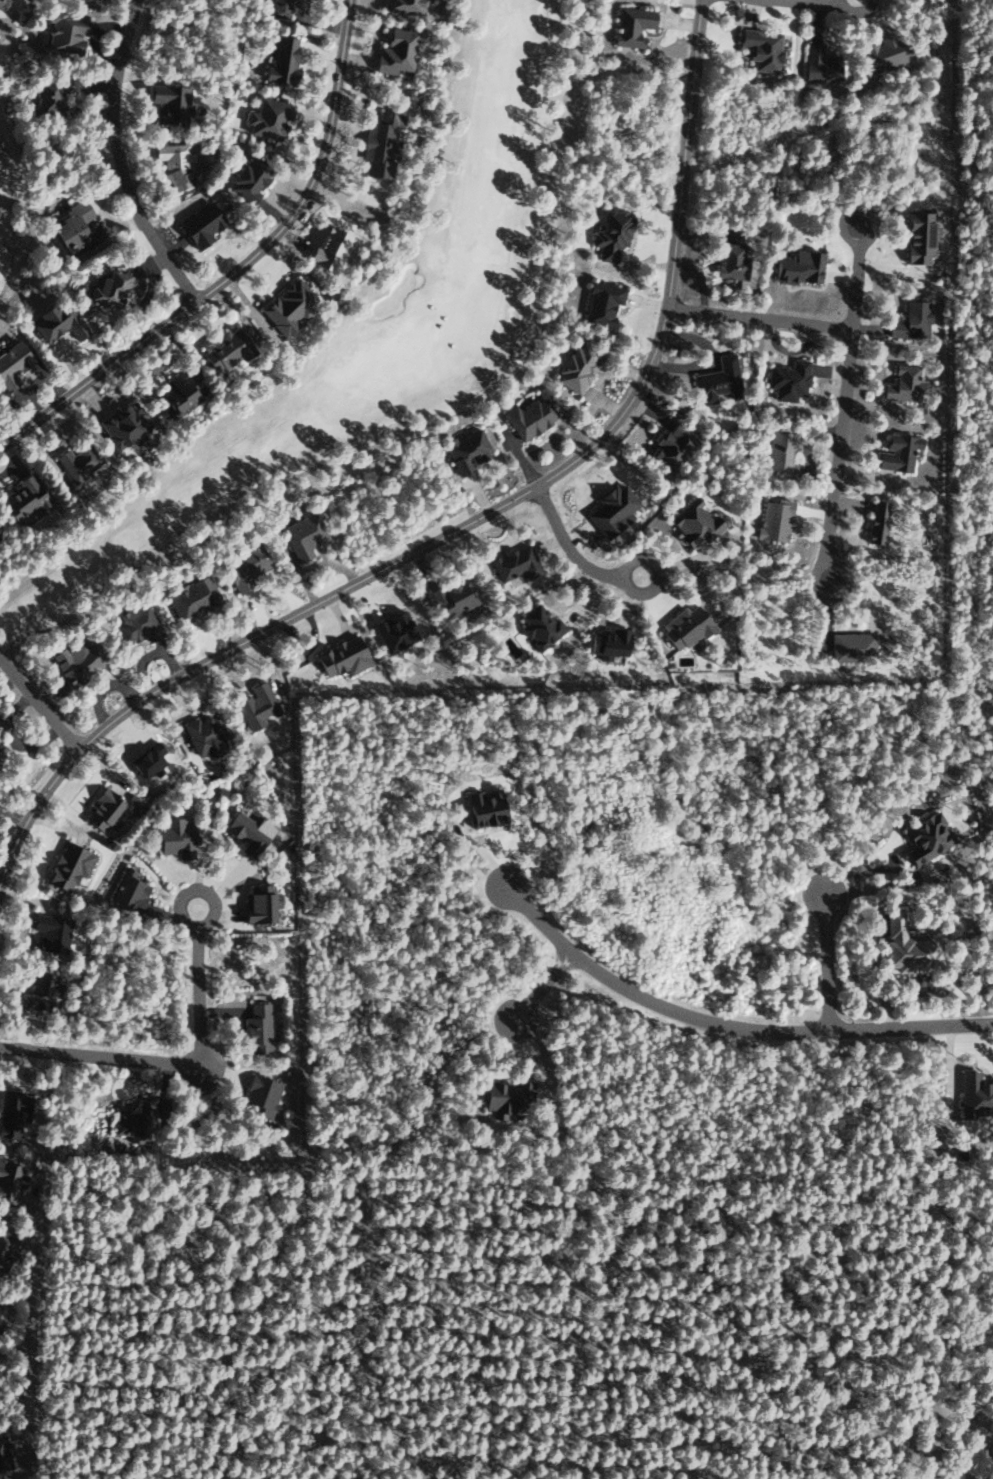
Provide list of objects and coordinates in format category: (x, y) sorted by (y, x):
road: (795, 3)
building: (403, 6)
building: (280, 8)
building: (631, 25)
building: (63, 32)
building: (760, 47)
building: (395, 51)
building: (882, 52)
building: (281, 61)
building: (819, 64)
building: (48, 95)
building: (168, 102)
building: (268, 118)
building: (380, 144)
road: (117, 160)
building: (174, 164)
building: (247, 179)
park: (14, 201)
building: (199, 226)
building: (75, 229)
building: (610, 233)
building: (731, 260)
road: (11, 266)
building: (796, 266)
road: (241, 267)
building: (112, 287)
building: (600, 302)
building: (286, 307)
road: (759, 320)
building: (910, 321)
building: (56, 322)
park: (369, 328)
building: (223, 349)
building: (11, 364)
building: (575, 368)
building: (717, 380)
building: (788, 380)
building: (903, 384)
building: (176, 392)
road: (843, 404)
building: (529, 417)
building: (124, 425)
road: (420, 425)
building: (671, 445)
building: (466, 450)
building: (780, 451)
building: (897, 452)
building: (76, 461)
building: (23, 499)
building: (611, 509)
building: (773, 520)
building: (876, 522)
building: (693, 523)
road: (466, 527)
building: (302, 535)
road: (573, 557)
building: (515, 563)
building: (244, 566)
building: (191, 598)
building: (450, 599)
building: (135, 623)
building: (538, 626)
building: (684, 627)
building: (393, 631)
building: (608, 643)
building: (852, 646)
building: (340, 657)
building: (73, 663)
building: (256, 705)
road: (37, 706)
building: (205, 736)
building: (484, 807)
building: (102, 811)
building: (248, 831)
building: (174, 837)
building: (926, 837)
building: (67, 866)
building: (128, 891)
building: (258, 904)
building: (51, 932)
building: (905, 947)
road: (823, 960)
road: (537, 986)
building: (38, 993)
road: (725, 1025)
building: (257, 1028)
road: (163, 1064)
building: (975, 1095)
building: (261, 1096)
building: (504, 1097)
building: (13, 1112)
building: (134, 1123)
building: (10, 1181)
building: (6, 1243)
building: (3, 1455)

